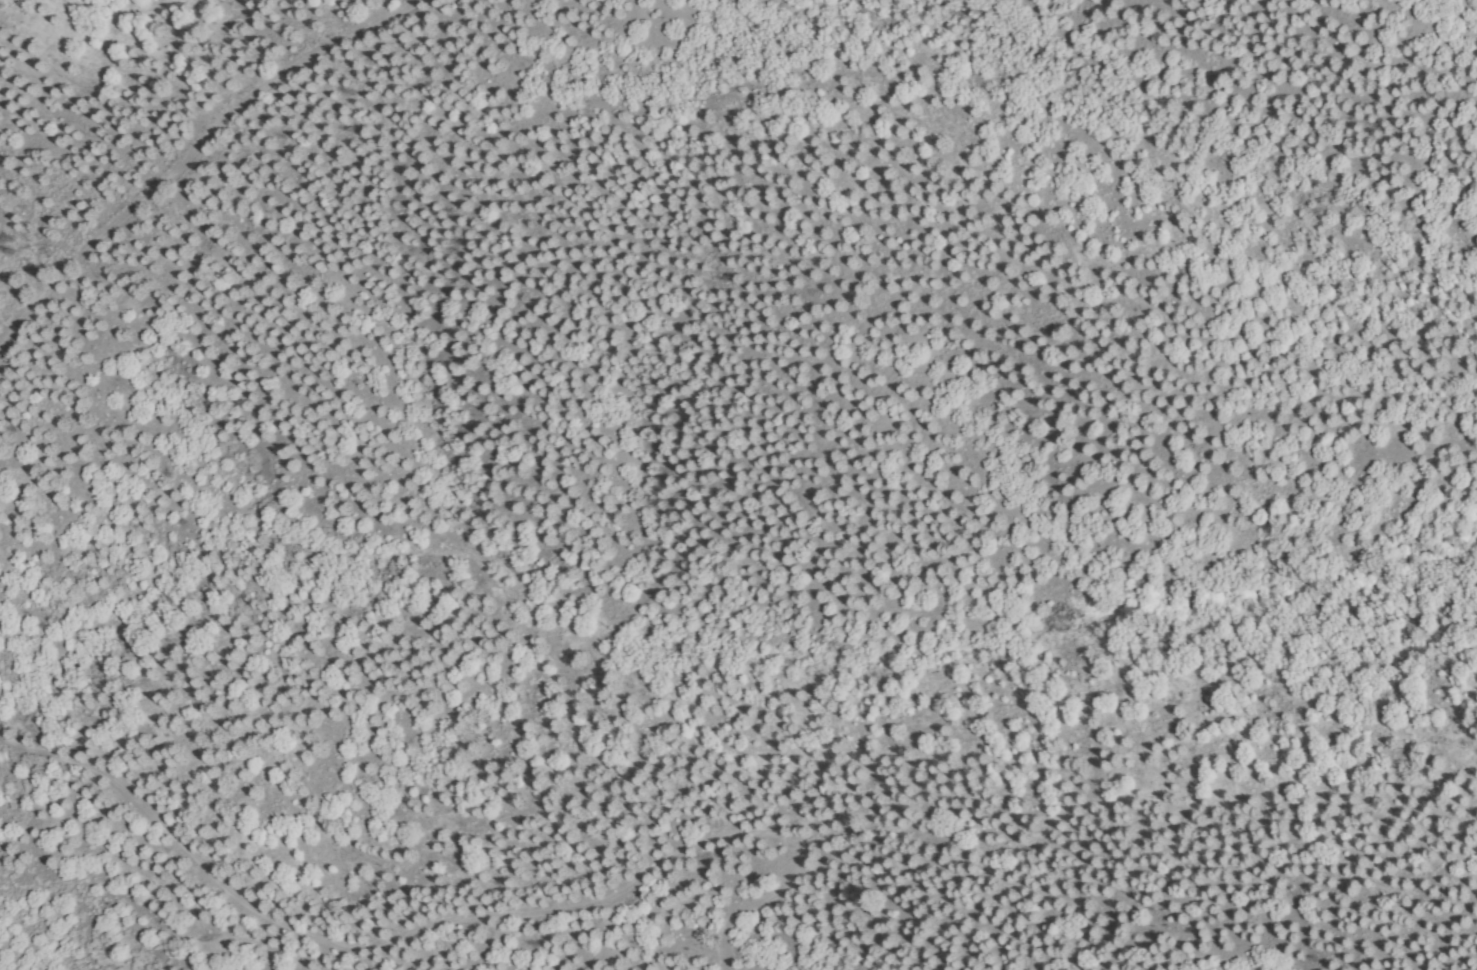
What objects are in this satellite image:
road: (198, 150)

